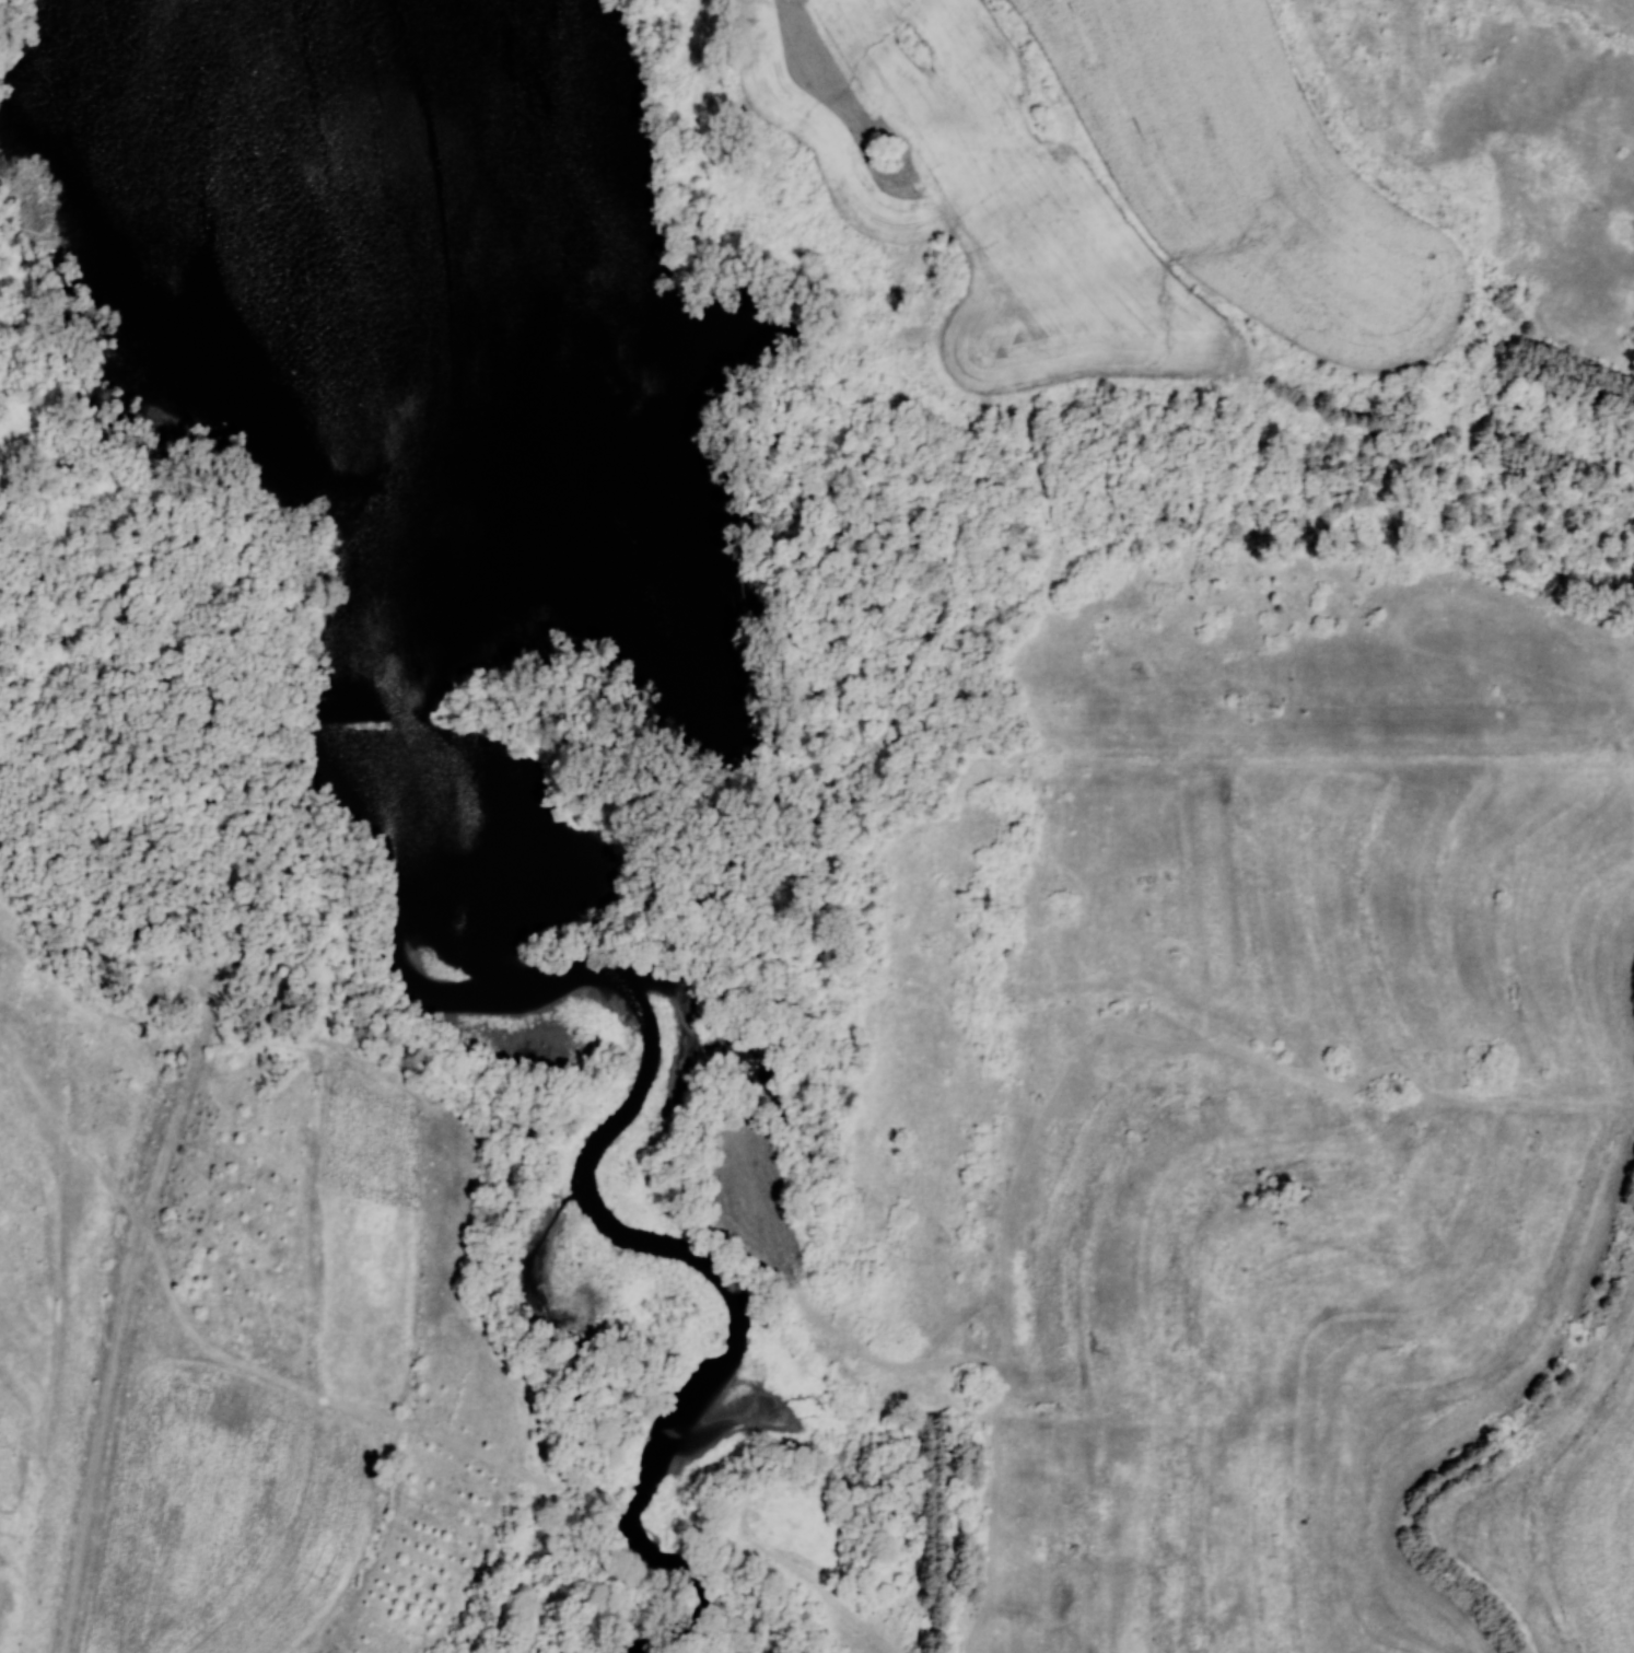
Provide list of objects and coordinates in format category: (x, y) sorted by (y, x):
road: (119, 1332)

